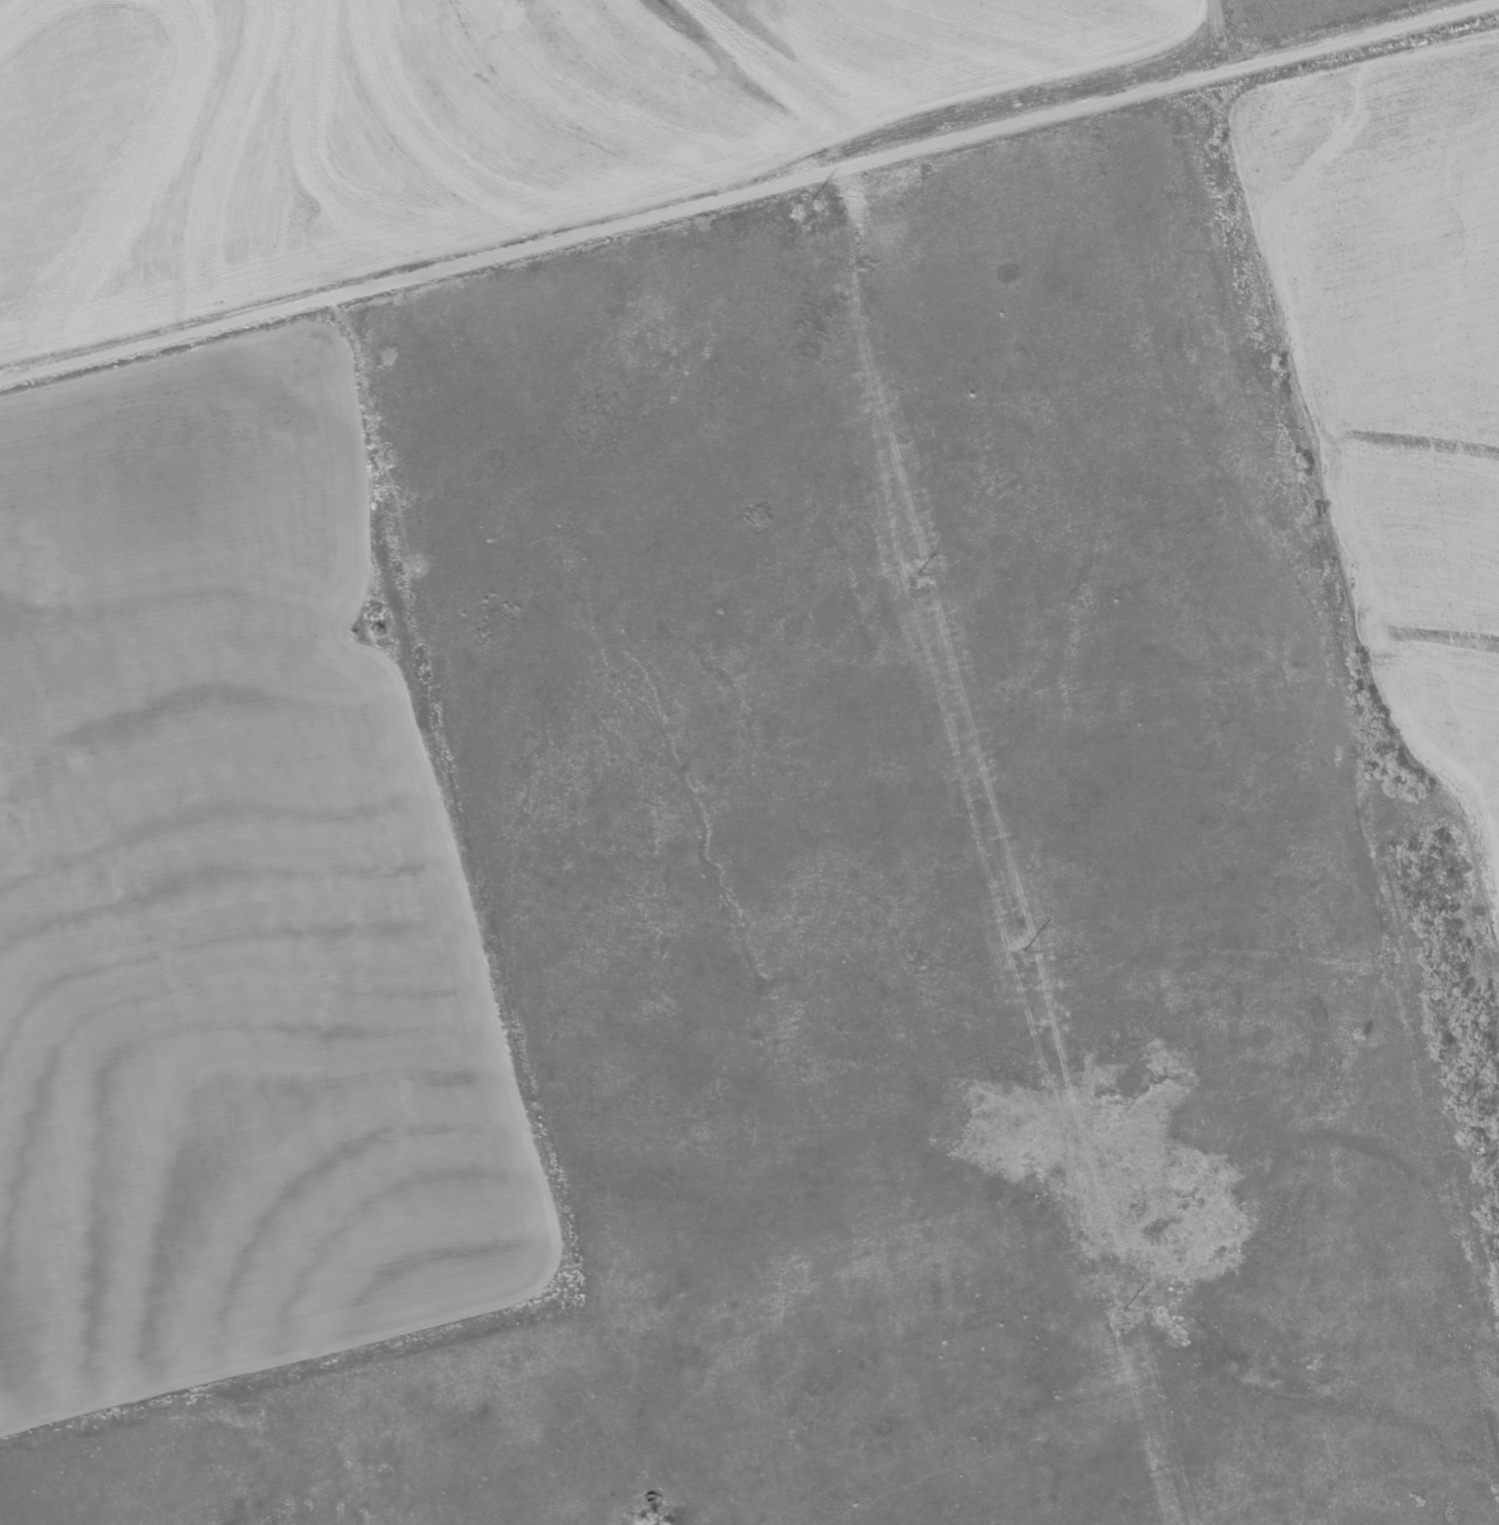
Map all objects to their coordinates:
road: (685, 162)
power tower: (814, 208)
power tower: (919, 582)
power tower: (1024, 961)
power tower: (1126, 1327)
road: (678, 1509)

